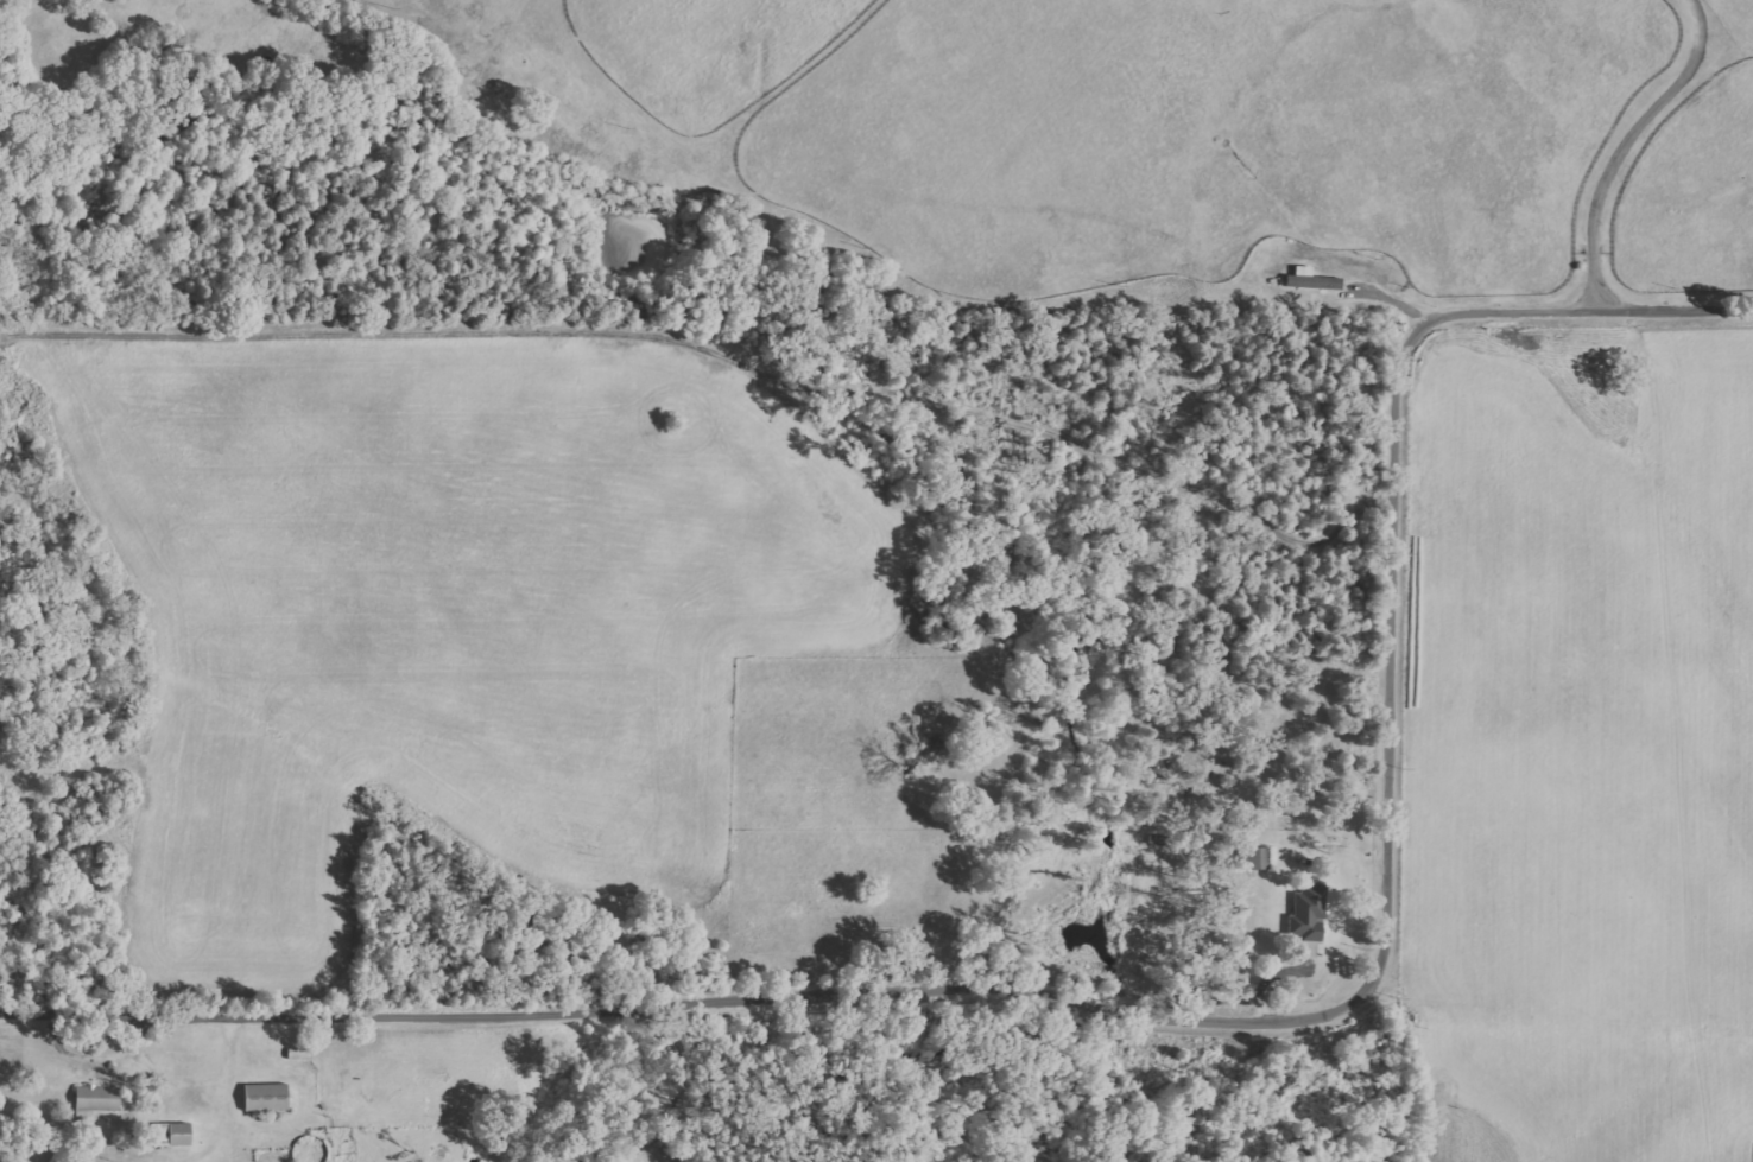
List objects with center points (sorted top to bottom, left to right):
road: (1632, 144)
building: (1308, 279)
building: (1257, 857)
building: (1306, 913)
road: (1189, 1012)
building: (270, 1097)
building: (99, 1100)
building: (175, 1134)

